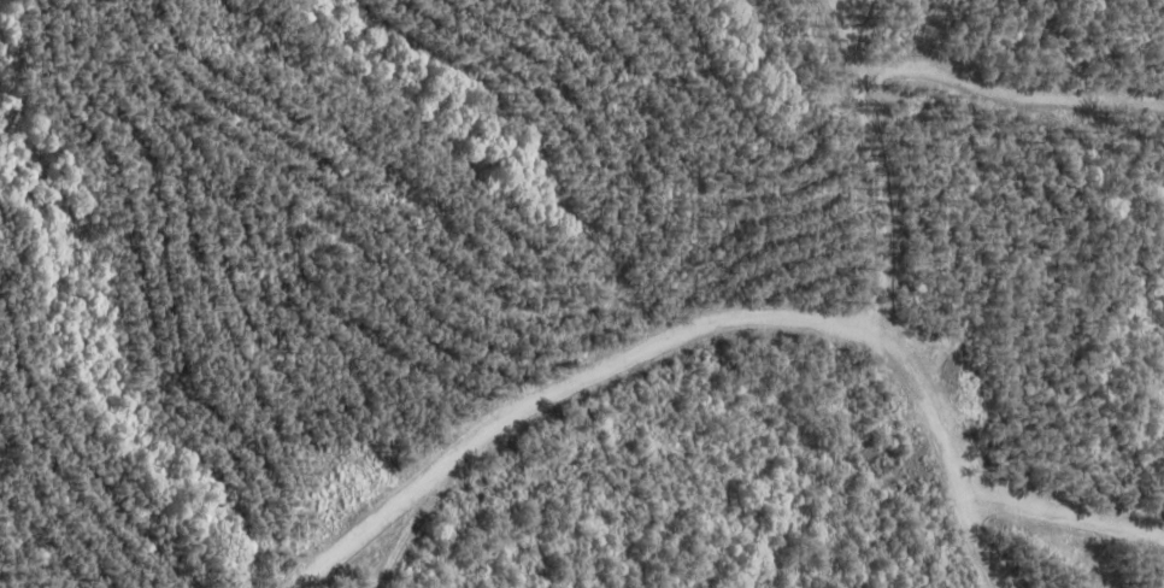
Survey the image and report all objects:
road: (702, 375)

